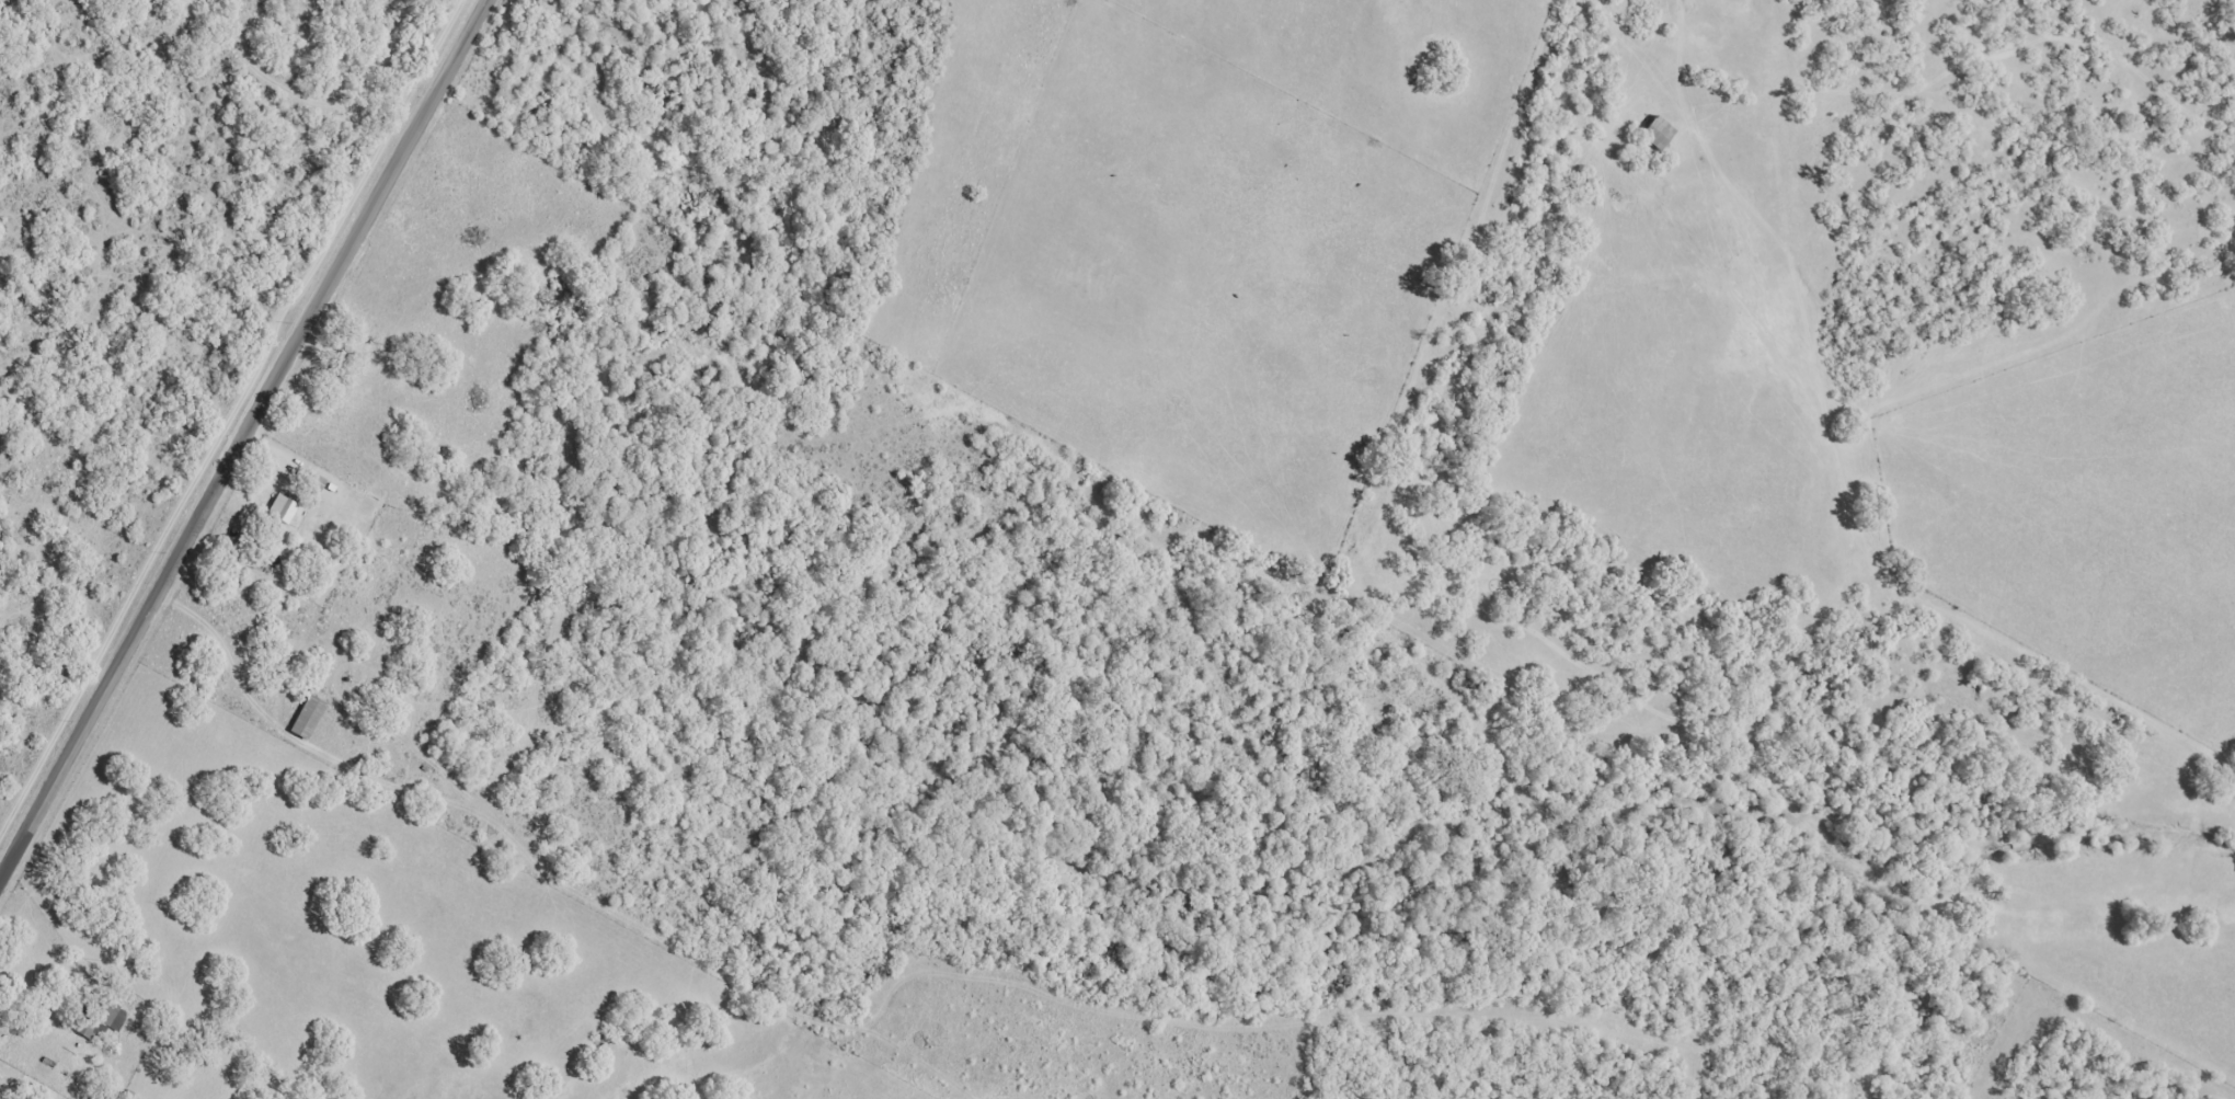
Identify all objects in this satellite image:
building: (1654, 131)
road: (243, 440)
building: (280, 507)
building: (306, 716)
building: (112, 1017)

